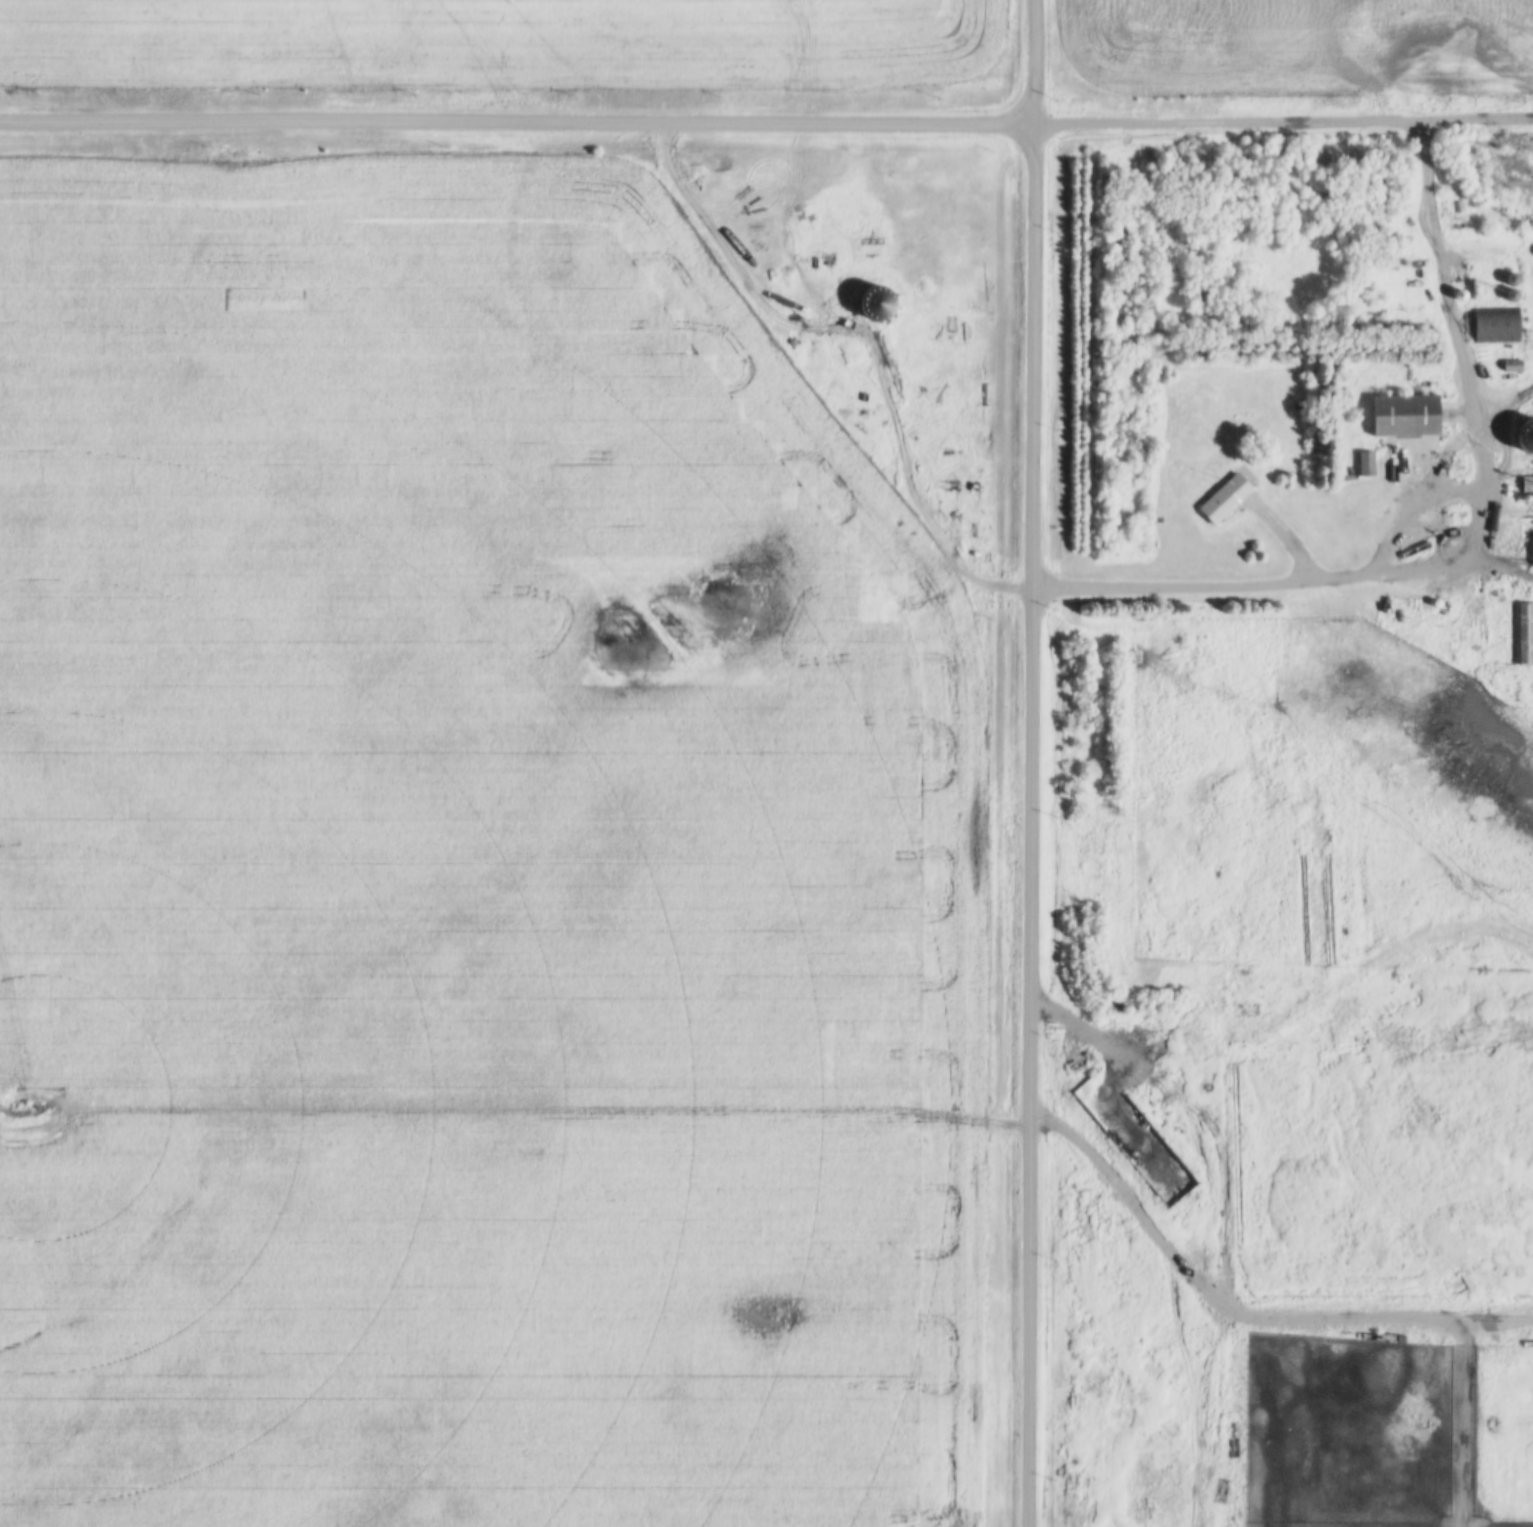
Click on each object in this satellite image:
road: (518, 119)
road: (1230, 123)
road: (1479, 125)
building: (1507, 285)
road: (1465, 357)
building: (1401, 418)
building: (1526, 435)
building: (1363, 466)
building: (1526, 485)
building: (1222, 500)
building: (1532, 551)
road: (1285, 582)
building: (1522, 634)
road: (1034, 763)
road: (1211, 1172)
road: (1124, 1184)

